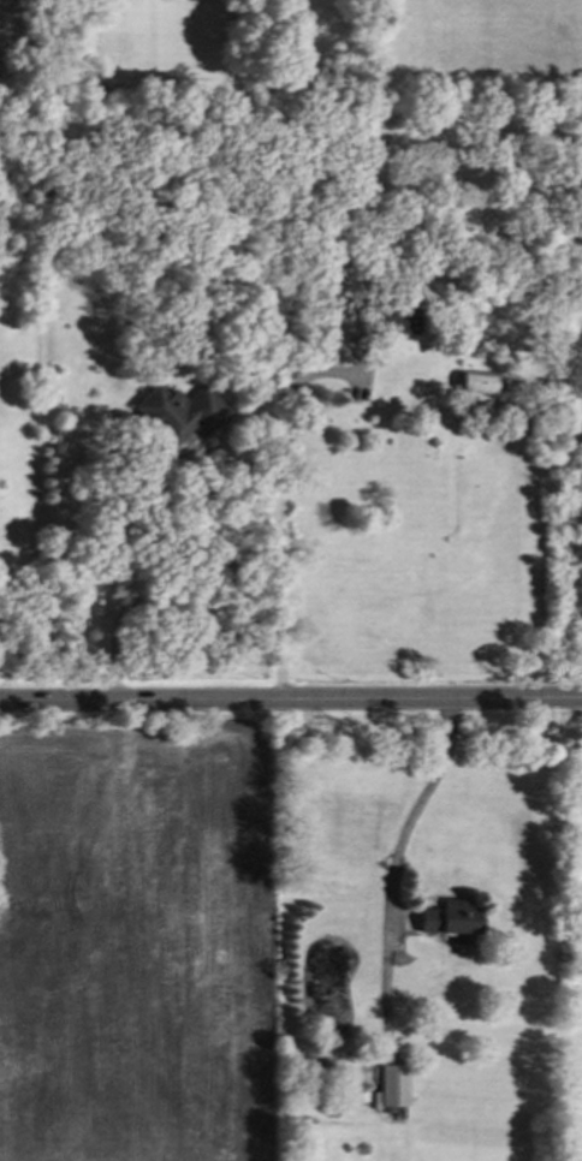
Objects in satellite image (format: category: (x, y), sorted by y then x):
building: (384, 315)
building: (482, 386)
building: (178, 416)
road: (275, 505)
road: (291, 698)
road: (421, 798)
building: (455, 921)
crop: (142, 936)
building: (396, 1083)

